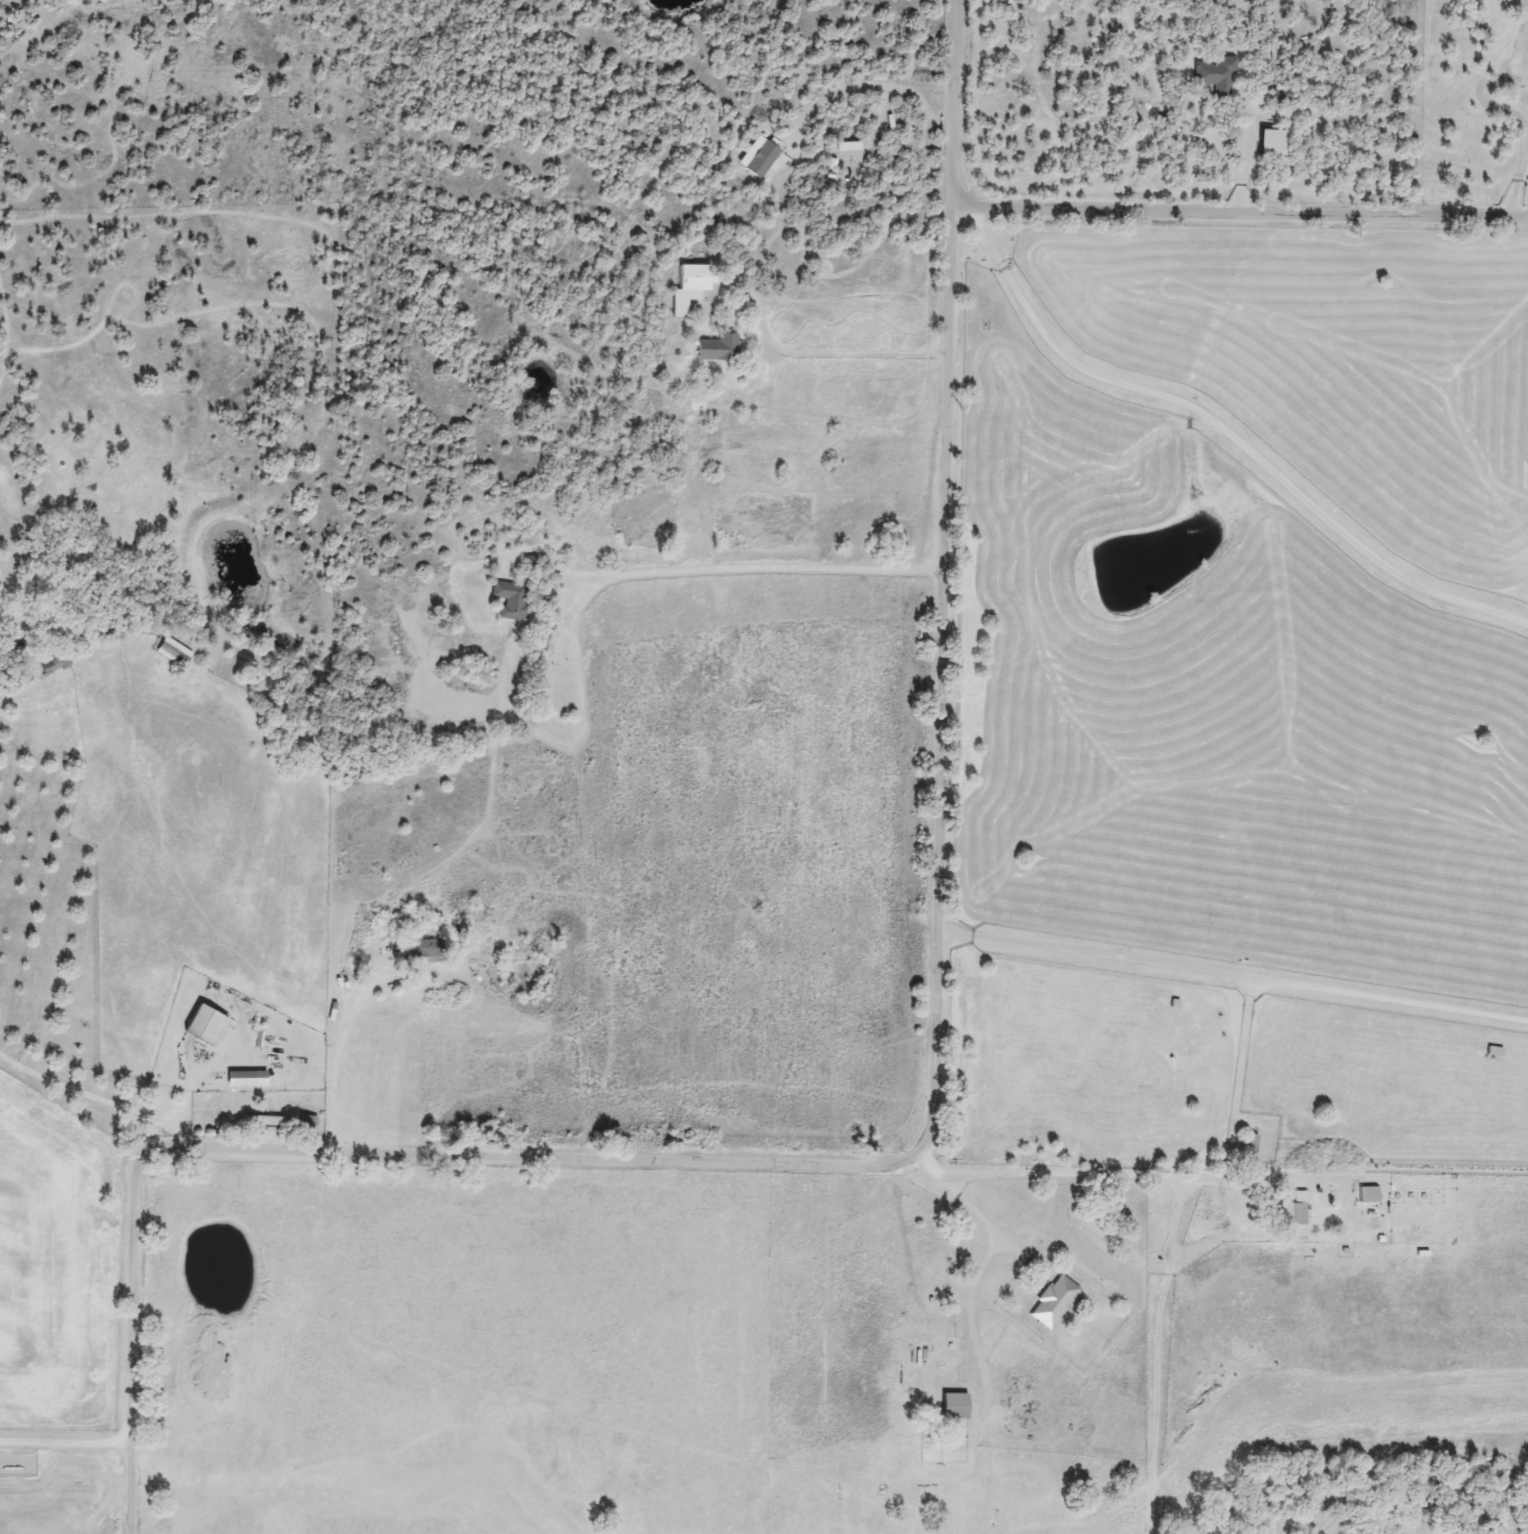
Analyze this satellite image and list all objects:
building: (1214, 77)
road: (870, 83)
building: (1271, 96)
road: (1515, 166)
road: (1236, 209)
building: (693, 278)
building: (676, 306)
building: (714, 348)
road: (819, 352)
road: (1226, 433)
road: (744, 567)
building: (508, 600)
building: (170, 652)
building: (52, 663)
road: (965, 931)
building: (422, 947)
road: (1264, 977)
building: (201, 1024)
road: (339, 1049)
building: (243, 1078)
road: (94, 1097)
road: (926, 1109)
building: (260, 1120)
road: (1093, 1174)
building: (1290, 1211)
road: (974, 1212)
building: (1053, 1302)
building: (950, 1406)
road: (63, 1439)
road: (125, 1487)

